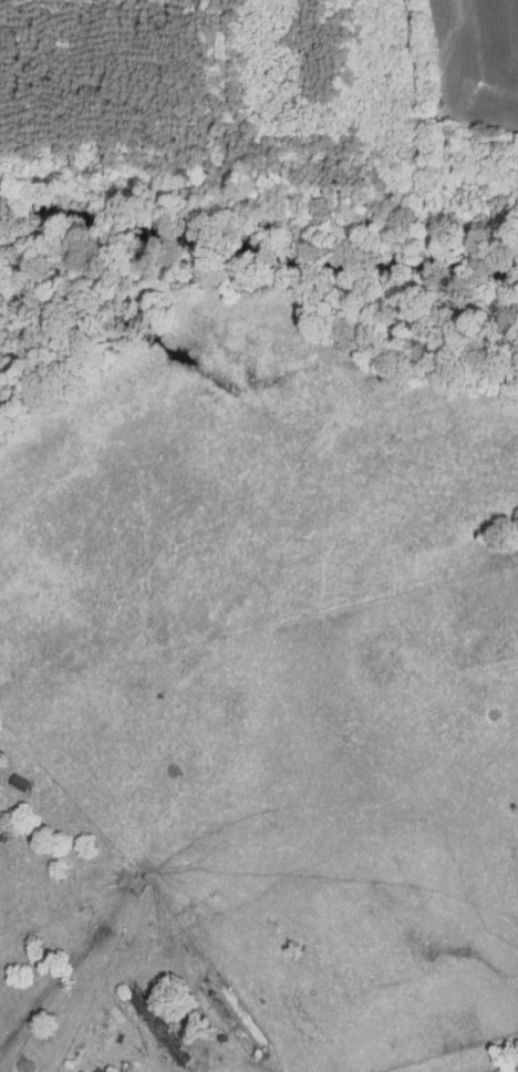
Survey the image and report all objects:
crop: (1, 0)
crop: (476, 63)
building: (22, 783)
building: (2, 834)
building: (159, 1025)
building: (224, 1039)

